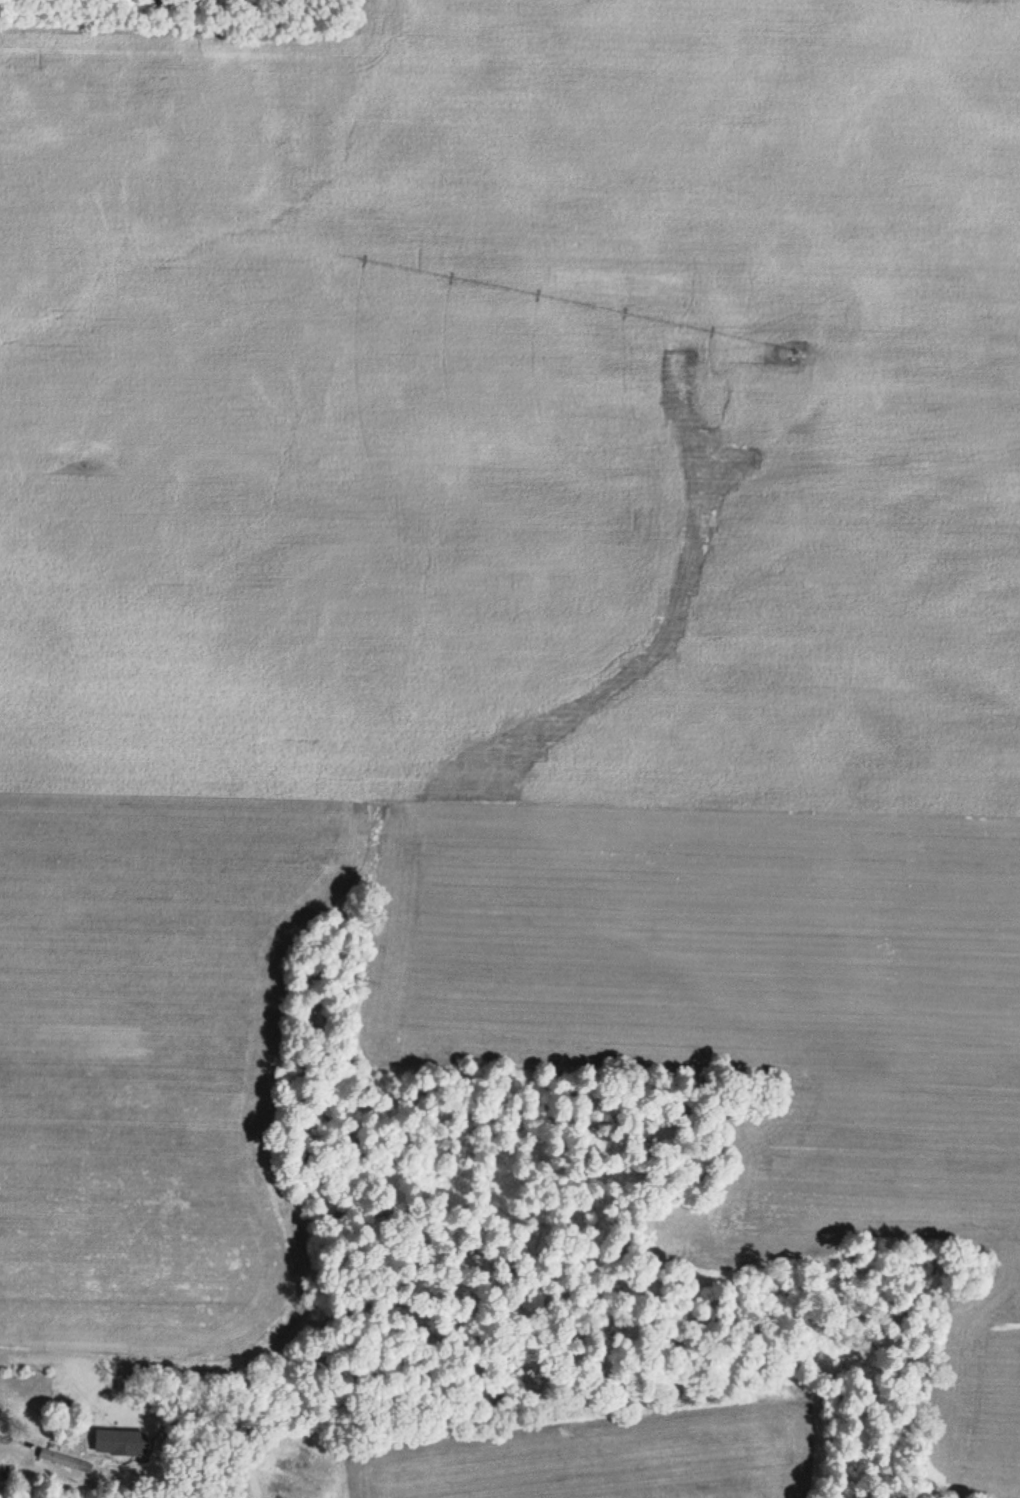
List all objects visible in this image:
building: (62, 1460)

